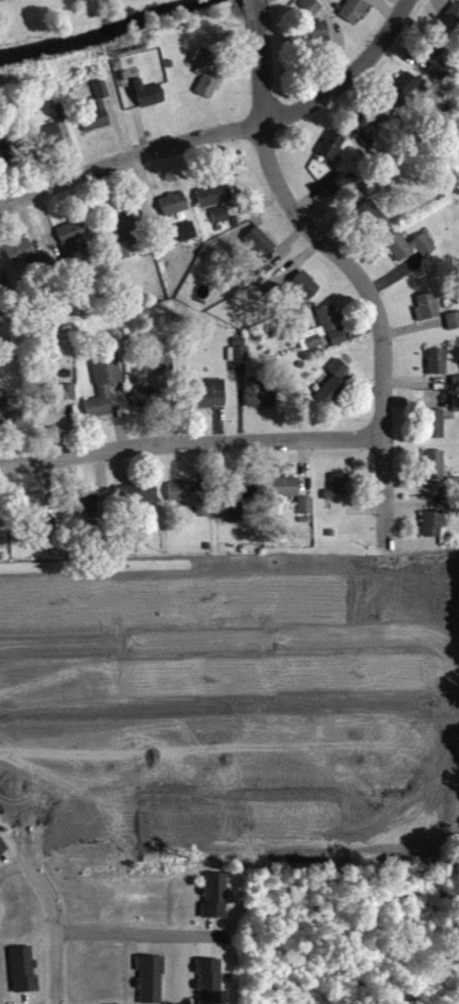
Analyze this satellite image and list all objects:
building: (355, 0)
road: (255, 10)
building: (310, 13)
building: (353, 16)
building: (454, 18)
building: (316, 43)
building: (434, 61)
building: (206, 81)
building: (408, 96)
building: (149, 102)
building: (97, 118)
building: (364, 129)
road: (224, 134)
building: (50, 144)
building: (332, 153)
building: (7, 157)
building: (334, 192)
building: (210, 203)
building: (174, 212)
building: (220, 223)
building: (372, 223)
building: (121, 230)
building: (186, 240)
building: (72, 244)
building: (260, 249)
building: (410, 254)
building: (20, 259)
building: (120, 260)
road: (346, 266)
building: (304, 294)
building: (427, 315)
building: (329, 327)
building: (453, 329)
building: (338, 345)
building: (238, 358)
building: (437, 370)
building: (164, 377)
building: (334, 391)
building: (104, 393)
building: (69, 400)
building: (210, 403)
building: (260, 403)
building: (146, 405)
building: (456, 412)
building: (51, 424)
building: (9, 427)
building: (435, 432)
road: (190, 446)
building: (435, 473)
building: (454, 491)
building: (286, 495)
building: (339, 495)
building: (137, 500)
building: (190, 504)
building: (84, 508)
building: (235, 513)
building: (306, 514)
building: (433, 532)
road: (384, 624)
road: (192, 639)
road: (215, 776)
road: (13, 782)
building: (2, 856)
building: (215, 904)
road: (52, 919)
road: (135, 933)
building: (23, 978)
building: (150, 983)
building: (209, 985)

